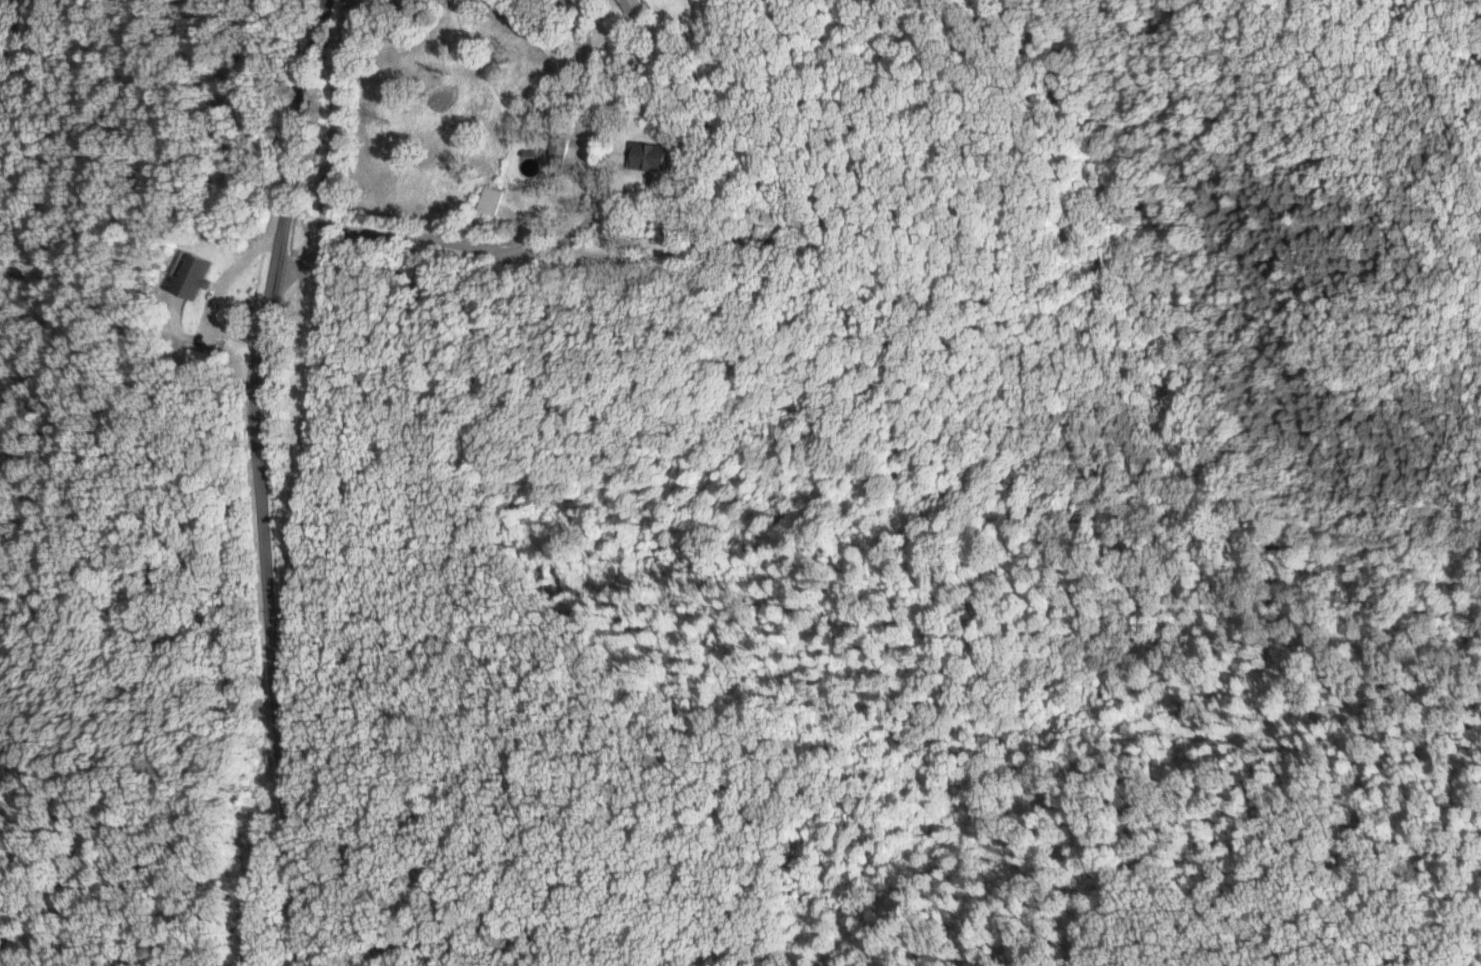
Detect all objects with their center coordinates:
building: (634, 5)
park: (392, 10)
building: (561, 146)
building: (649, 156)
building: (490, 199)
road: (658, 241)
road: (546, 246)
building: (202, 276)
building: (201, 358)
road: (277, 481)

